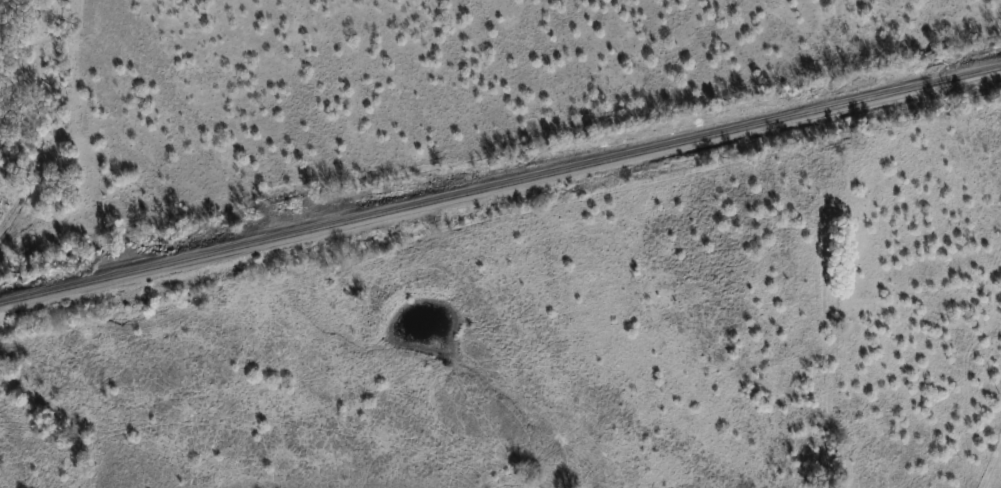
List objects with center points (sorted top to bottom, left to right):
railway: (500, 186)

